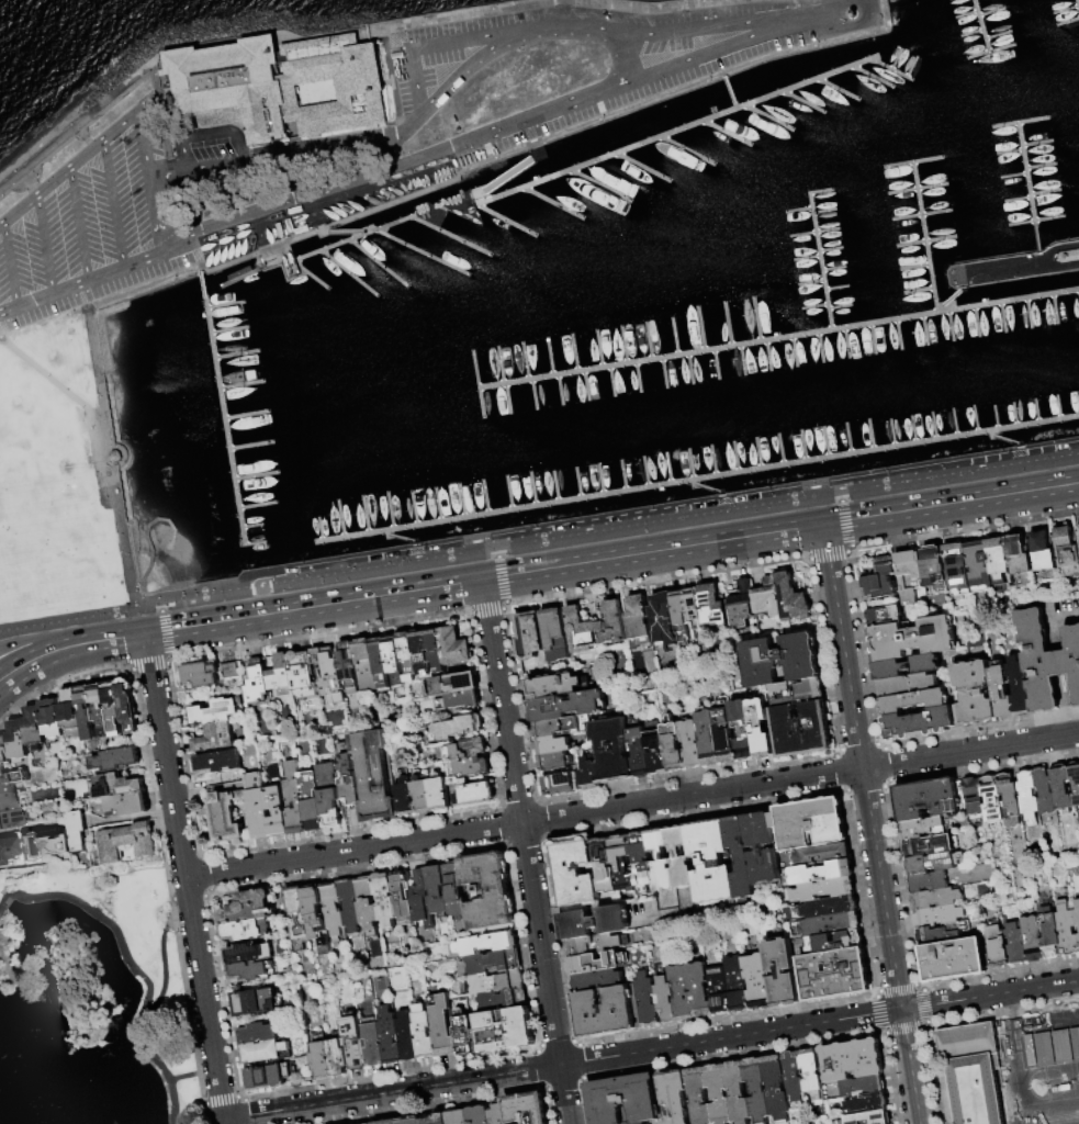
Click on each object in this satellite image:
road: (861, 1)
pier: (1077, 4)
pier: (1065, 10)
pier: (989, 11)
road: (866, 12)
pier: (965, 14)
road: (808, 18)
pier: (1067, 22)
pier: (979, 26)
road: (699, 29)
pier: (970, 34)
pier: (997, 35)
road: (472, 37)
building: (446, 45)
pier: (990, 52)
road: (701, 53)
pier: (895, 59)
pier: (910, 66)
pier: (890, 69)
parking lot: (418, 76)
pier: (873, 76)
building: (404, 79)
road: (415, 83)
building: (283, 87)
pier: (836, 89)
pier: (730, 94)
parking lot: (632, 95)
pier: (803, 102)
road: (552, 110)
road: (424, 114)
pier: (769, 117)
pier: (1019, 121)
road: (82, 128)
pier: (677, 130)
road: (203, 132)
pier: (727, 133)
pier: (1036, 143)
road: (238, 146)
parking lot: (210, 148)
pier: (687, 150)
pier: (1009, 151)
road: (145, 154)
road: (181, 158)
pier: (911, 162)
road: (68, 167)
pier: (642, 167)
pier: (1039, 167)
road: (299, 173)
pier: (1013, 175)
road: (162, 180)
pier: (599, 186)
pier: (915, 189)
pier: (820, 192)
pier: (1029, 192)
pier: (1044, 192)
road: (306, 194)
pier: (475, 199)
pier: (1016, 199)
road: (113, 202)
pier: (553, 202)
pier: (798, 210)
pier: (824, 212)
pier: (920, 215)
pier: (1034, 220)
pier: (506, 221)
road: (77, 224)
road: (158, 224)
parking lot: (83, 225)
pier: (344, 232)
pier: (366, 232)
pier: (813, 233)
road: (263, 235)
pier: (451, 236)
pier: (925, 237)
pier: (924, 241)
road: (44, 243)
pier: (830, 249)
road: (1057, 249)
pier: (422, 252)
building: (1068, 256)
pier: (806, 258)
pier: (819, 261)
pier: (376, 262)
road: (8, 265)
pier: (914, 267)
pier: (1014, 267)
road: (1014, 267)
pier: (832, 269)
pier: (348, 271)
pier: (314, 278)
road: (81, 281)
pier: (810, 282)
pier: (836, 286)
pier: (919, 291)
pier: (954, 295)
pier: (1008, 300)
pier: (225, 305)
pier: (813, 307)
pier: (839, 307)
pier: (1055, 308)
pier: (1029, 313)
pier: (1002, 317)
pier: (756, 318)
pier: (977, 322)
pier: (727, 324)
pier: (951, 325)
pier: (700, 328)
pier: (228, 329)
pier: (924, 330)
pier: (899, 334)
pier: (674, 336)
pier: (873, 339)
pier: (648, 340)
pier: (846, 342)
pier: (622, 345)
pier: (820, 347)
pier: (599, 348)
pier: (708, 350)
pier: (794, 351)
pier: (574, 352)
road: (94, 355)
pier: (237, 355)
pier: (767, 355)
pier: (550, 357)
pier: (742, 359)
pier: (525, 361)
pier: (499, 364)
pier: (717, 364)
pier: (692, 368)
pier: (664, 372)
pier: (638, 378)
road: (53, 381)
pier: (612, 381)
pier: (241, 384)
pier: (477, 385)
pier: (586, 386)
pier: (561, 391)
pier: (535, 394)
pier: (1078, 395)
pier: (507, 398)
pier: (1058, 407)
pier: (222, 411)
pier: (1036, 411)
pier: (246, 415)
pier: (1014, 415)
pier: (996, 417)
pier: (975, 419)
pier: (954, 423)
pier: (934, 426)
pier: (912, 429)
pier: (892, 432)
pier: (870, 435)
pier: (848, 438)
pier: (1004, 439)
pier: (825, 441)
pier: (250, 445)
pier: (803, 446)
pier: (780, 449)
pier: (758, 453)
pier: (734, 457)
pier: (712, 460)
pier: (689, 464)
pier: (667, 468)
pier: (644, 472)
pier: (622, 475)
pier: (256, 476)
park: (53, 479)
pier: (600, 479)
pier: (695, 479)
pier: (578, 483)
pier: (554, 486)
pier: (531, 488)
pier: (705, 488)
pier: (509, 492)
pier: (485, 496)
pier: (461, 501)
road: (951, 503)
pier: (437, 504)
pier: (257, 505)
pier: (413, 508)
road: (844, 509)
pier: (390, 510)
pier: (364, 514)
pier: (340, 518)
pier: (251, 526)
pier: (319, 529)
road: (122, 531)
pier: (400, 538)
road: (151, 543)
pier: (254, 543)
road: (540, 547)
road: (652, 551)
building: (1068, 551)
building: (1045, 555)
building: (1021, 561)
road: (499, 565)
building: (1001, 565)
building: (886, 566)
building: (980, 566)
building: (959, 569)
building: (936, 570)
building: (911, 576)
building: (880, 588)
building: (767, 597)
building: (793, 600)
building: (741, 602)
building: (712, 604)
road: (315, 606)
building: (696, 610)
building: (681, 614)
building: (887, 617)
building: (663, 619)
building: (639, 621)
building: (595, 627)
building: (530, 634)
building: (555, 634)
road: (112, 639)
building: (914, 639)
road: (38, 644)
road: (843, 645)
building: (454, 648)
building: (435, 652)
building: (420, 654)
building: (407, 656)
road: (36, 660)
building: (774, 661)
building: (1048, 661)
building: (394, 663)
building: (364, 665)
building: (380, 665)
building: (909, 667)
building: (348, 668)
building: (229, 671)
building: (284, 673)
building: (201, 675)
building: (302, 675)
building: (328, 675)
building: (273, 682)
building: (451, 685)
building: (555, 685)
building: (257, 686)
building: (909, 686)
building: (1021, 688)
building: (797, 692)
building: (1002, 692)
building: (976, 694)
building: (458, 700)
road: (503, 700)
building: (915, 702)
building: (127, 705)
building: (569, 705)
building: (113, 708)
building: (100, 710)
building: (87, 712)
building: (70, 713)
building: (52, 719)
building: (920, 724)
building: (216, 726)
building: (555, 726)
building: (462, 727)
building: (34, 728)
building: (760, 728)
building: (742, 730)
building: (801, 730)
building: (724, 737)
building: (707, 739)
building: (690, 743)
building: (557, 744)
building: (673, 744)
building: (638, 748)
building: (611, 750)
road: (970, 751)
building: (18, 752)
building: (656, 752)
building: (4, 757)
building: (471, 757)
building: (116, 760)
building: (554, 761)
building: (216, 763)
building: (589, 774)
building: (374, 776)
building: (348, 783)
building: (1074, 783)
building: (5, 784)
building: (560, 784)
building: (116, 785)
building: (1061, 789)
building: (1045, 791)
building: (438, 794)
building: (474, 795)
road: (692, 795)
building: (329, 796)
building: (1029, 796)
building: (420, 797)
building: (404, 798)
building: (926, 798)
building: (975, 798)
building: (992, 799)
building: (8, 800)
building: (294, 800)
building: (1010, 800)
building: (312, 802)
building: (277, 803)
building: (127, 805)
building: (258, 806)
building: (226, 817)
building: (10, 819)
building: (808, 822)
building: (928, 825)
building: (77, 832)
building: (57, 842)
building: (126, 842)
building: (38, 843)
building: (930, 844)
building: (25, 846)
building: (761, 846)
building: (5, 848)
road: (353, 850)
building: (820, 853)
building: (679, 856)
building: (740, 856)
building: (660, 858)
building: (710, 861)
building: (641, 862)
building: (931, 862)
building: (621, 863)
building: (604, 864)
building: (573, 872)
building: (820, 872)
road: (186, 878)
building: (929, 880)
building: (823, 889)
building: (437, 890)
building: (456, 890)
building: (488, 890)
building: (403, 896)
building: (935, 897)
building: (422, 899)
building: (386, 902)
building: (350, 904)
building: (369, 906)
building: (827, 907)
building: (251, 908)
building: (334, 910)
building: (938, 914)
building: (299, 917)
building: (317, 918)
building: (1077, 919)
building: (593, 921)
building: (831, 924)
building: (1067, 930)
building: (243, 932)
building: (943, 933)
building: (1049, 933)
building: (488, 940)
building: (1033, 940)
building: (834, 942)
building: (596, 944)
building: (1015, 944)
road: (890, 946)
building: (998, 947)
building: (250, 954)
building: (954, 958)
road: (162, 959)
building: (494, 960)
building: (596, 963)
road: (133, 967)
building: (252, 971)
building: (782, 971)
road: (546, 974)
building: (832, 974)
building: (596, 979)
building: (757, 980)
building: (497, 981)
building: (737, 982)
building: (699, 989)
building: (719, 989)
building: (682, 992)
building: (503, 999)
building: (645, 999)
building: (664, 999)
building: (256, 1002)
park: (92, 1003)
building: (606, 1011)
building: (1056, 1022)
building: (443, 1024)
building: (503, 1030)
building: (425, 1032)
building: (464, 1032)
building: (259, 1034)
building: (390, 1035)
building: (407, 1036)
building: (373, 1042)
building: (355, 1043)
building: (1058, 1048)
road: (651, 1049)
building: (267, 1053)
building: (338, 1057)
building: (322, 1059)
building: (852, 1059)
building: (975, 1072)
building: (811, 1074)
road: (193, 1076)
building: (793, 1076)
building: (269, 1078)
building: (863, 1086)
building: (775, 1087)
building: (756, 1089)
building: (737, 1092)
building: (717, 1094)
building: (674, 1095)
building: (698, 1095)
building: (622, 1099)
building: (868, 1102)
building: (526, 1109)
building: (497, 1113)
building: (479, 1115)
building: (458, 1117)
building: (868, 1117)
building: (437, 1120)
building: (412, 1121)
building: (389, 1122)
building: (638, 1123)

